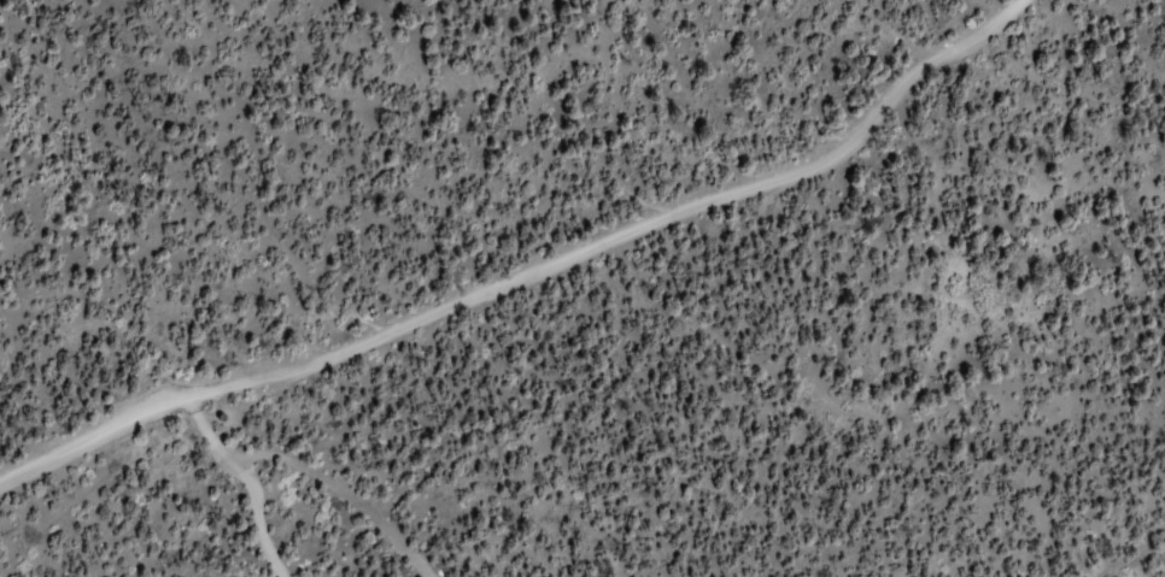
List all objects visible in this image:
road: (528, 277)

